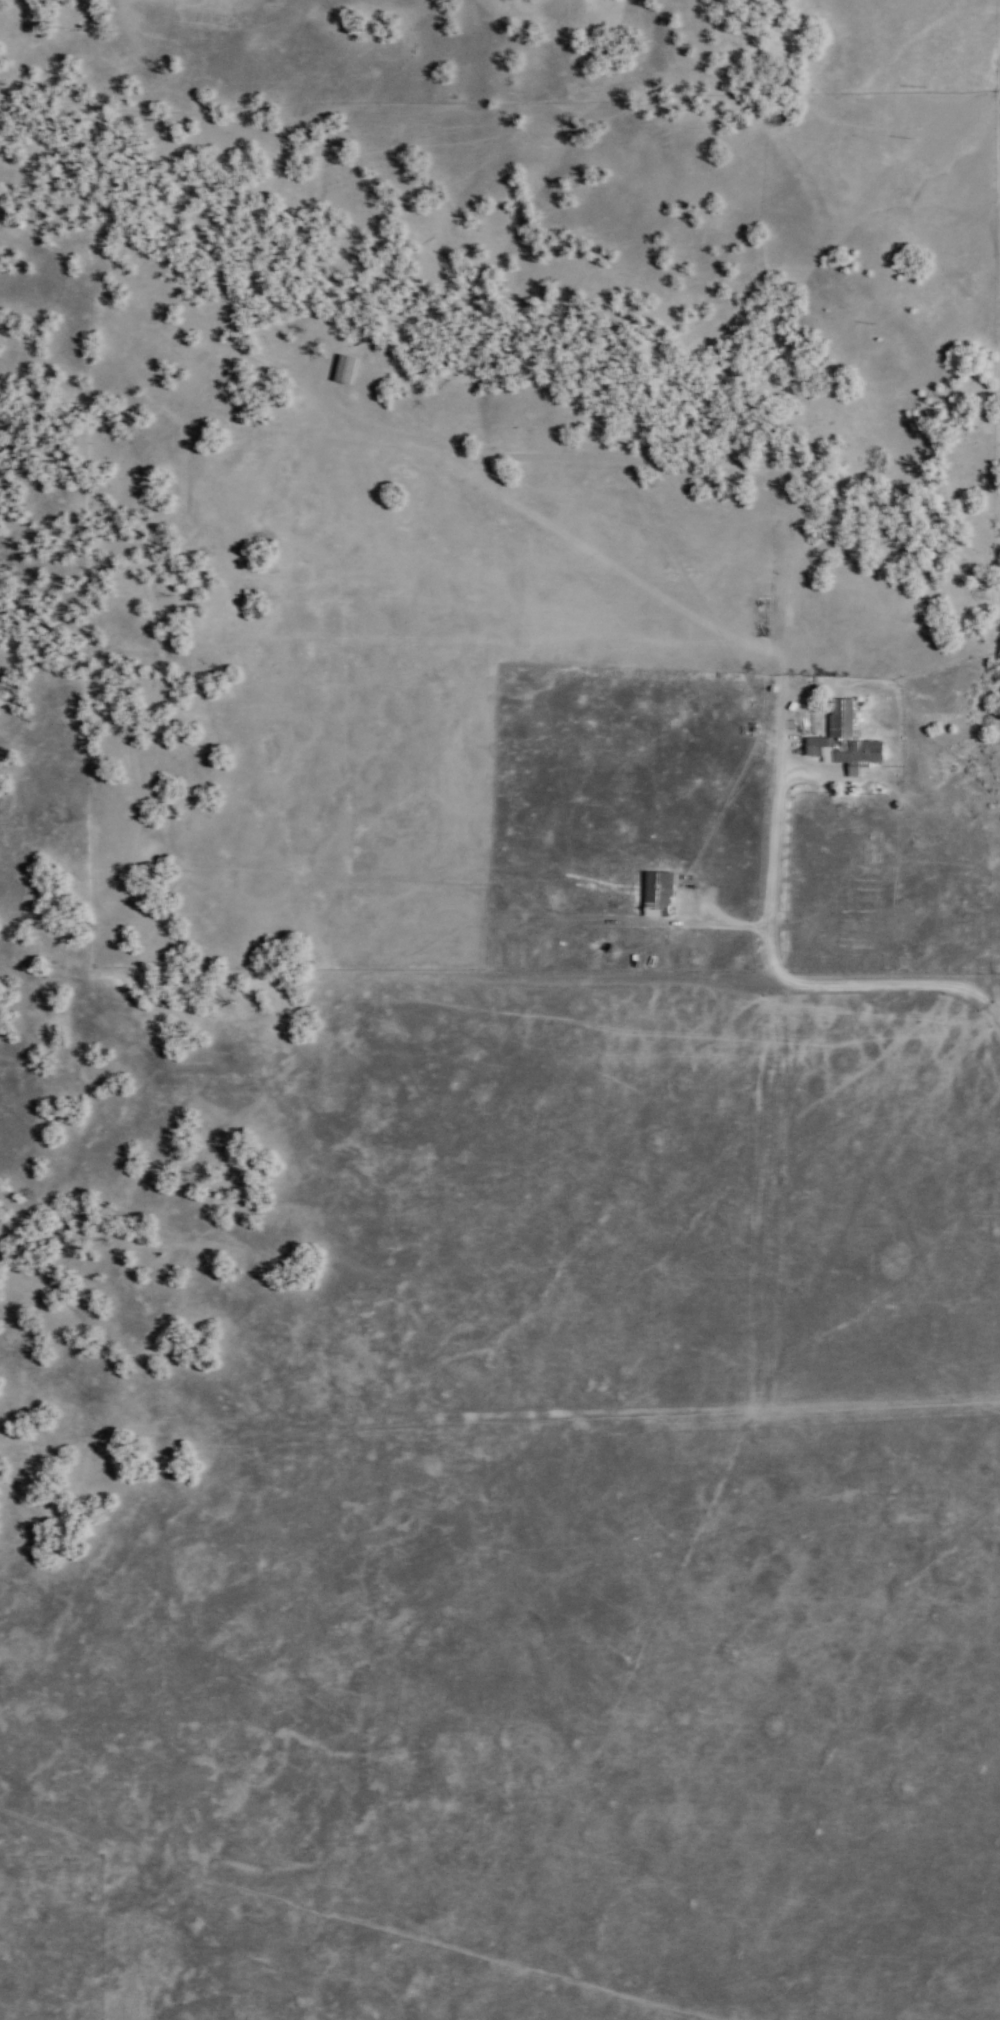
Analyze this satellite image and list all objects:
building: (348, 369)
building: (655, 893)

